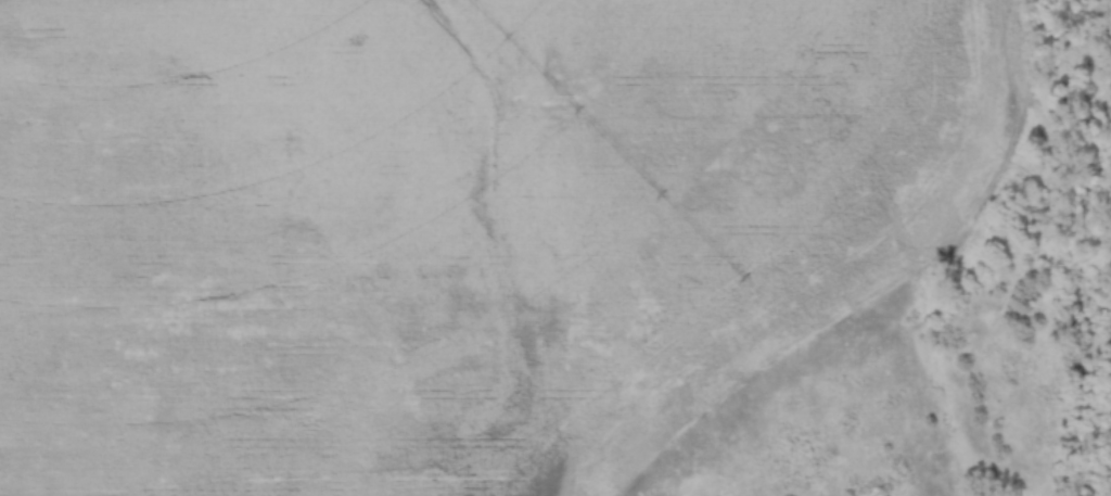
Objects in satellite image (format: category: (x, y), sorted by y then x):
road: (1085, 247)

